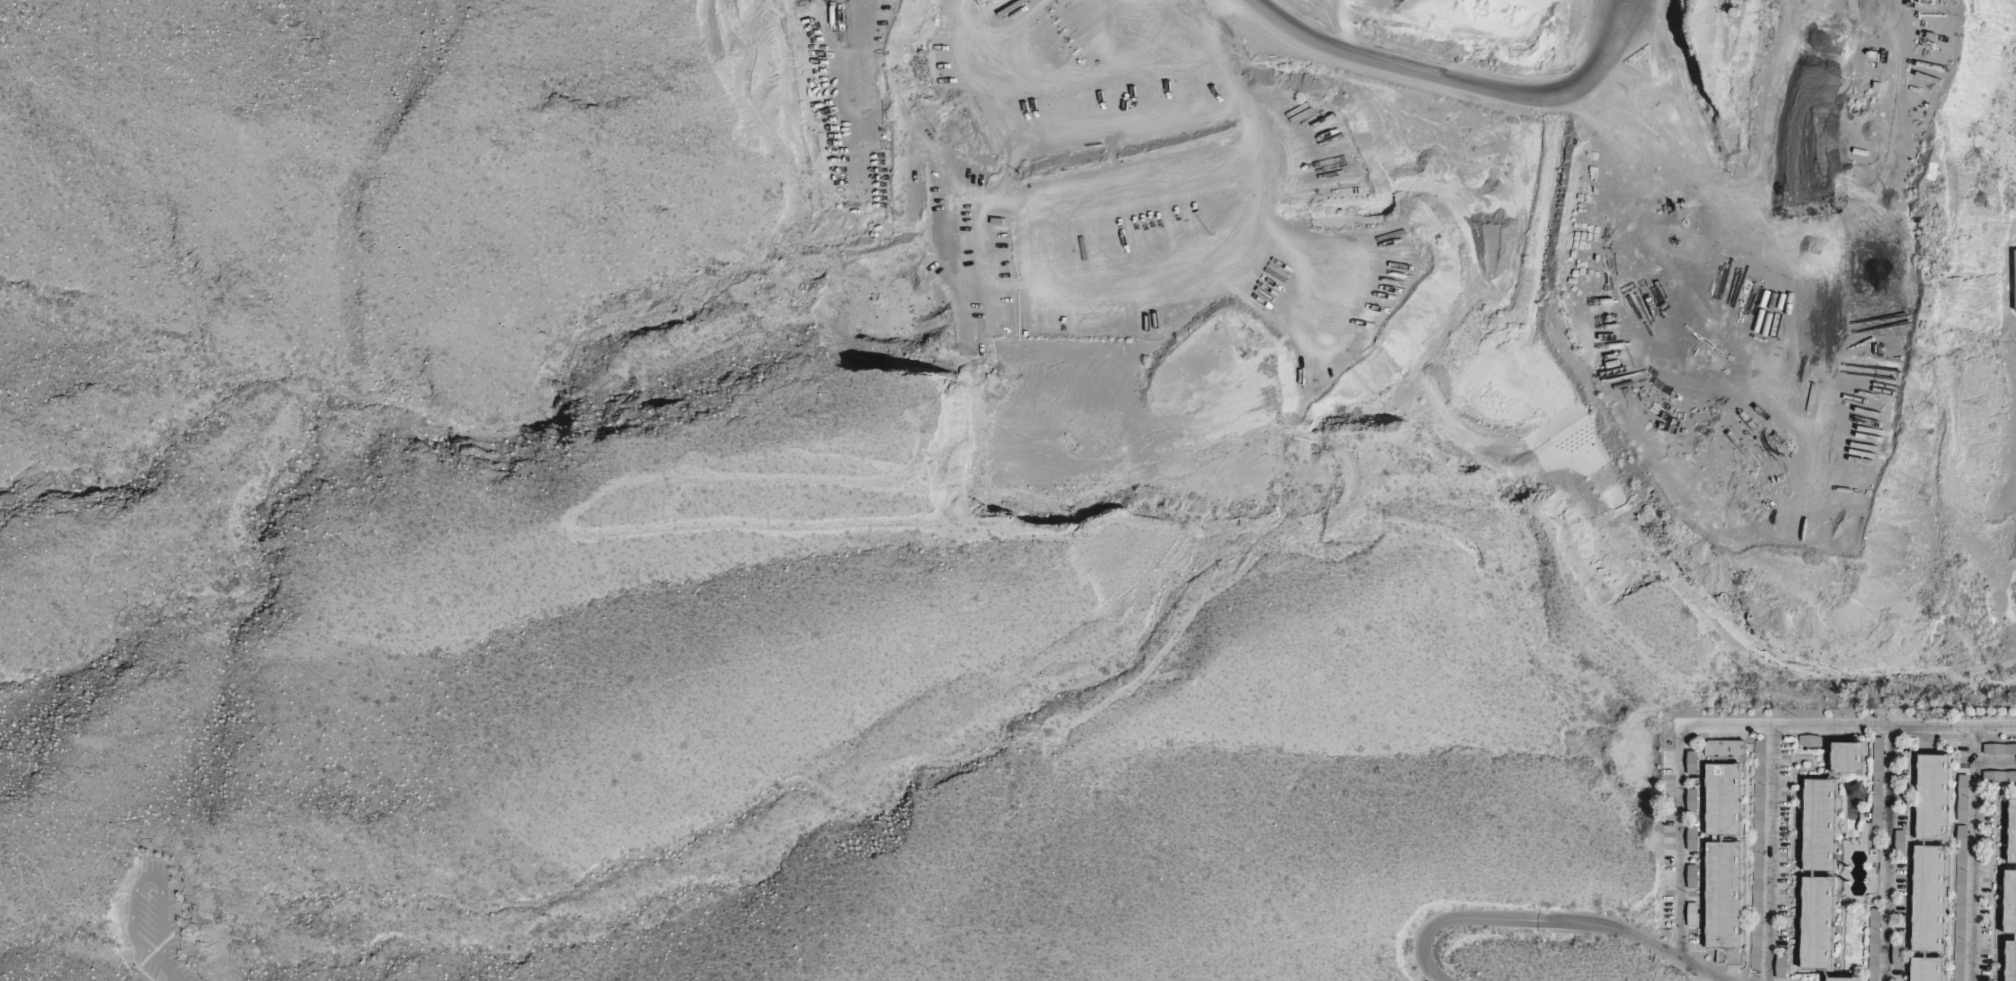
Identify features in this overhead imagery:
road: (1456, 77)
quarry: (1475, 275)
building: (2014, 276)
road: (1734, 727)
building: (1809, 740)
building: (1725, 746)
building: (1999, 748)
building: (1848, 756)
building: (1693, 761)
building: (1877, 780)
building: (1933, 796)
building: (1962, 797)
building: (1692, 799)
building: (1819, 824)
building: (2012, 830)
building: (1692, 837)
building: (1899, 840)
building: (1961, 845)
building: (150, 850)
road: (1772, 854)
road: (1888, 854)
road: (1973, 854)
building: (1723, 855)
building: (1692, 875)
road: (146, 882)
building: (1756, 882)
building: (1928, 897)
building: (2009, 901)
road: (65, 902)
building: (1692, 913)
road: (1447, 918)
building: (1818, 921)
parking lot: (158, 925)
building: (1873, 934)
road: (1634, 935)
building: (1896, 953)
building: (2010, 960)
building: (1755, 963)
building: (1780, 965)
building: (1927, 968)
road: (173, 976)
building: (1843, 978)

